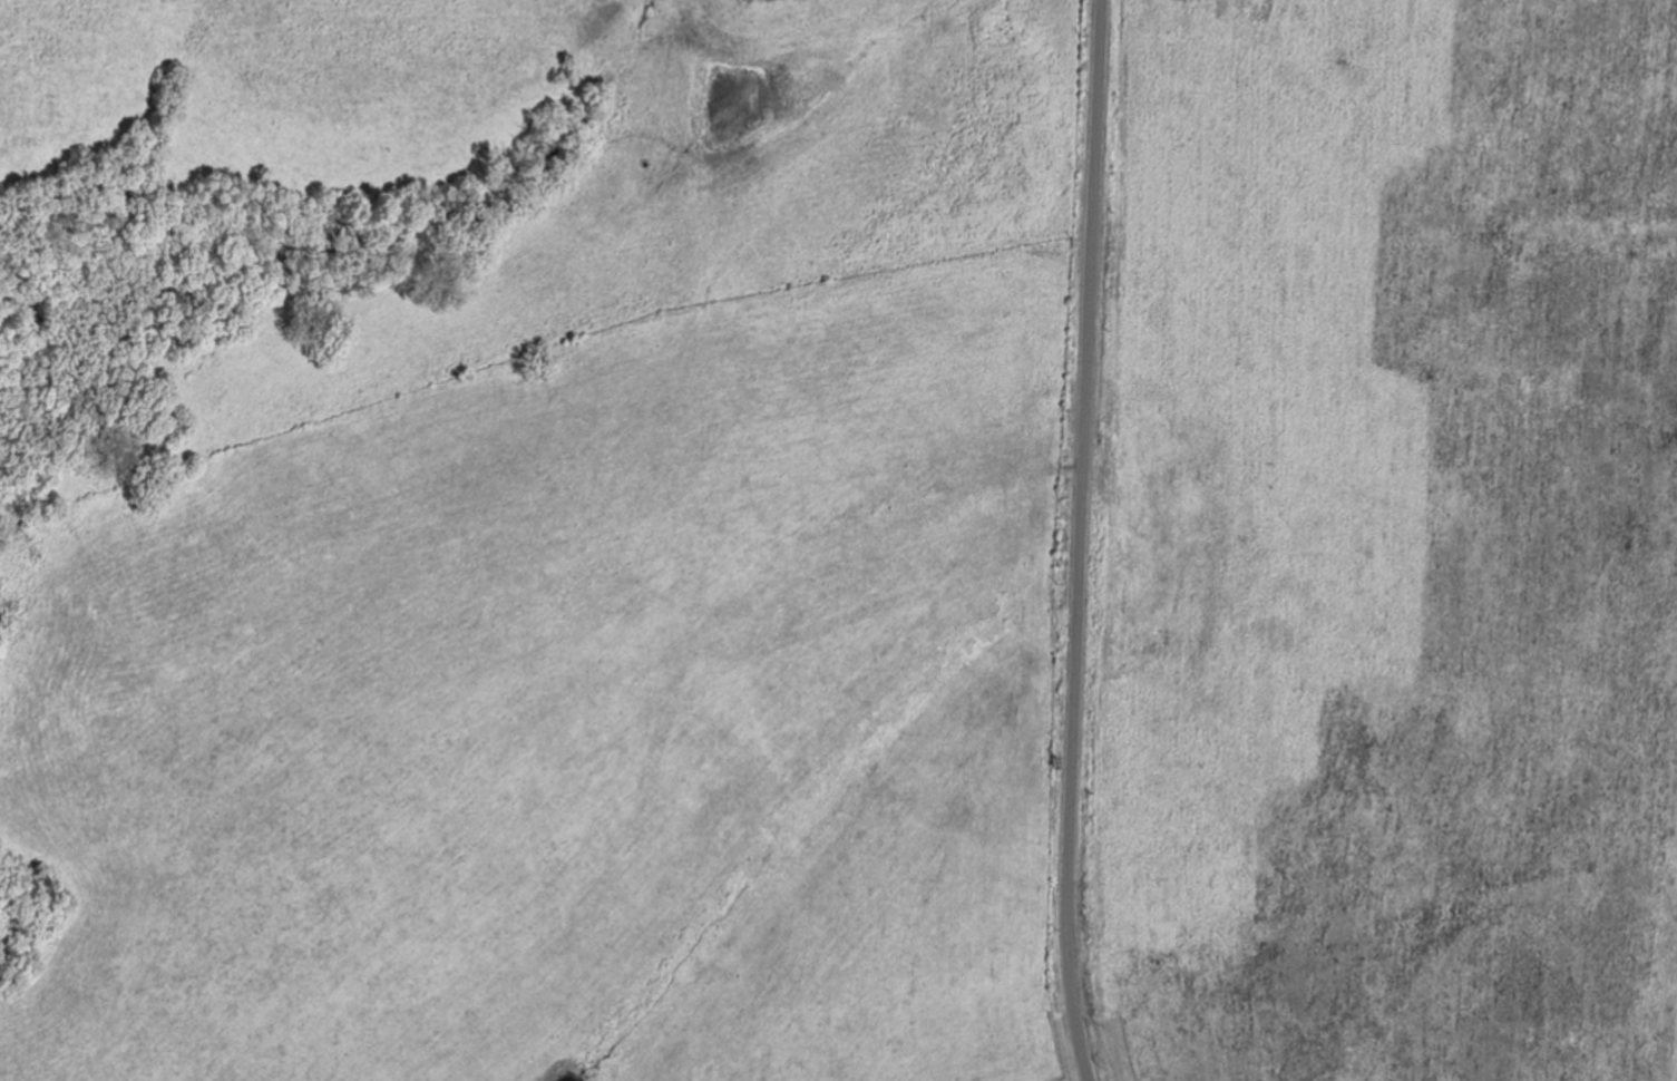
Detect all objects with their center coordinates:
road: (1081, 540)

